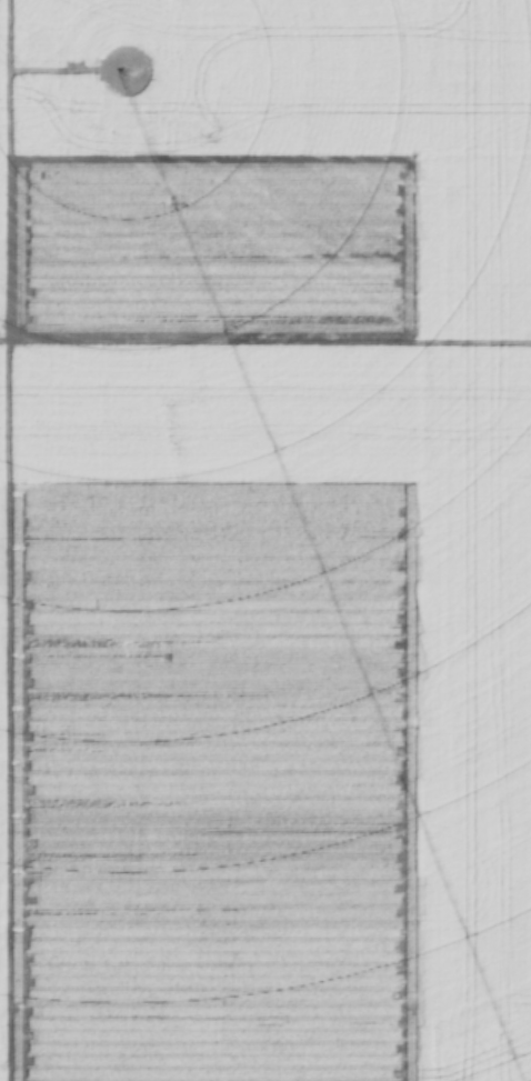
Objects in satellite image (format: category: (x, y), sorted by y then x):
crop: (264, 539)

